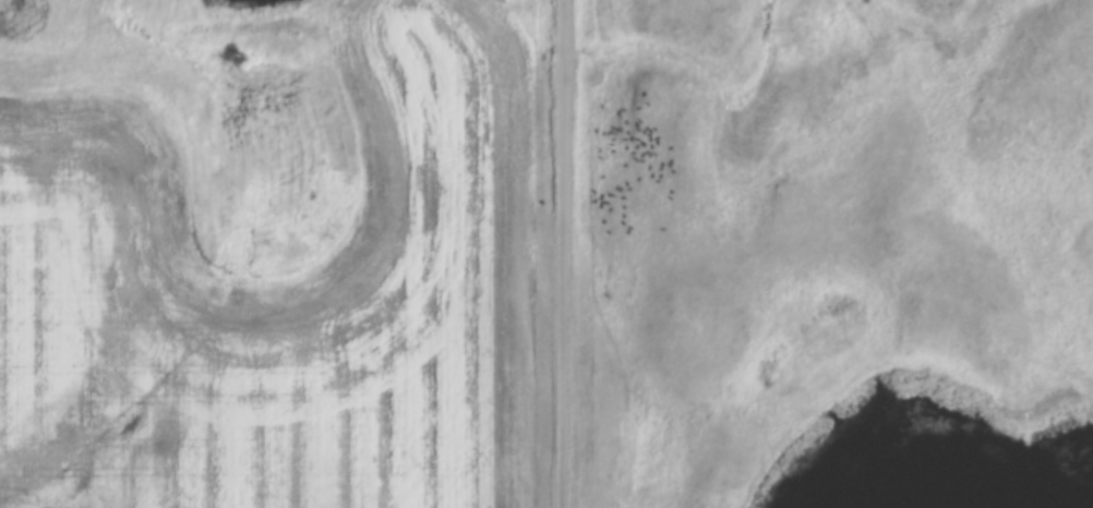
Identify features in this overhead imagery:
road: (563, 254)

